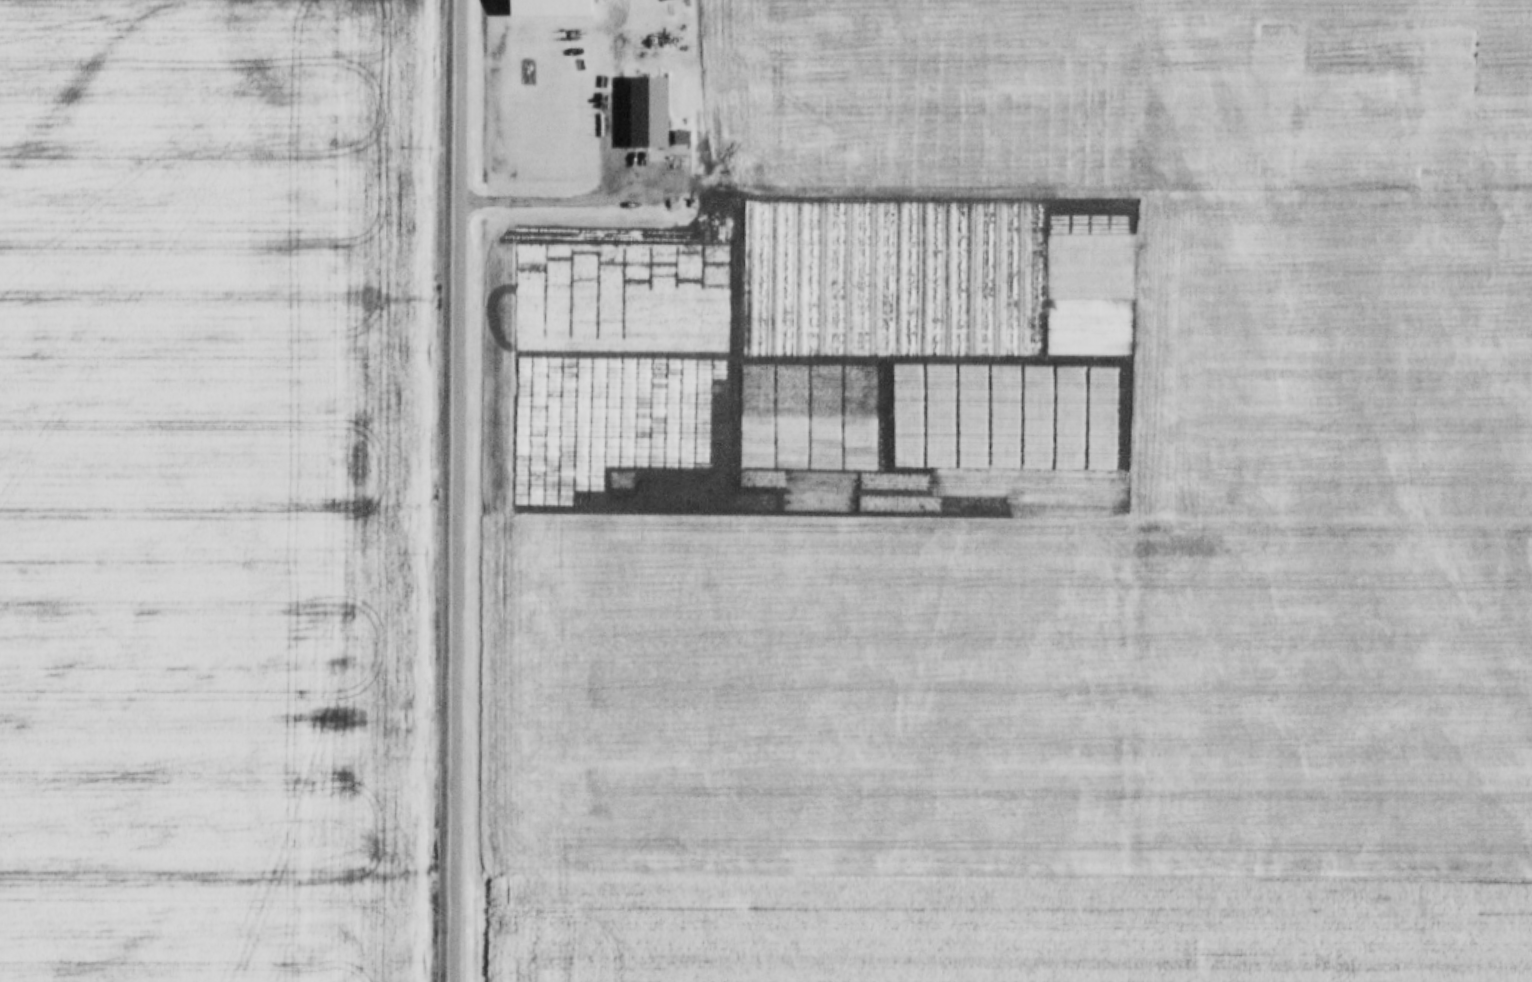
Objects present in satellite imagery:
building: (646, 110)
building: (617, 145)
road: (583, 197)
road: (461, 491)

